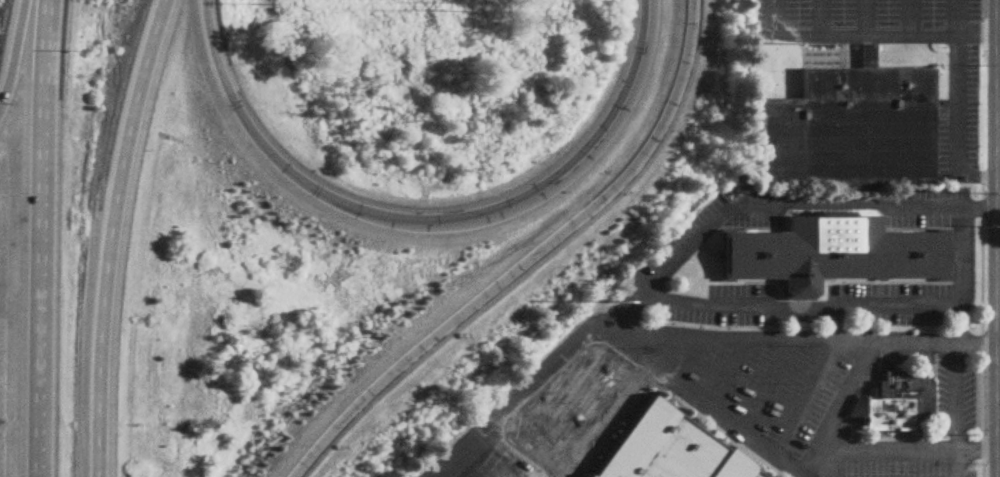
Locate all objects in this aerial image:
road: (5, 31)
road: (850, 31)
road: (978, 33)
park: (773, 69)
road: (622, 100)
road: (955, 108)
parking lot: (962, 110)
building: (844, 132)
road: (323, 197)
road: (775, 205)
road: (102, 235)
road: (30, 238)
building: (829, 255)
road: (523, 259)
road: (962, 277)
road: (804, 307)
road: (980, 325)
road: (836, 339)
road: (646, 364)
road: (725, 370)
road: (766, 382)
road: (518, 393)
road: (805, 394)
road: (841, 397)
parking lot: (748, 403)
building: (897, 404)
road: (560, 408)
road: (955, 410)
road: (756, 437)
building: (662, 450)
road: (807, 473)

